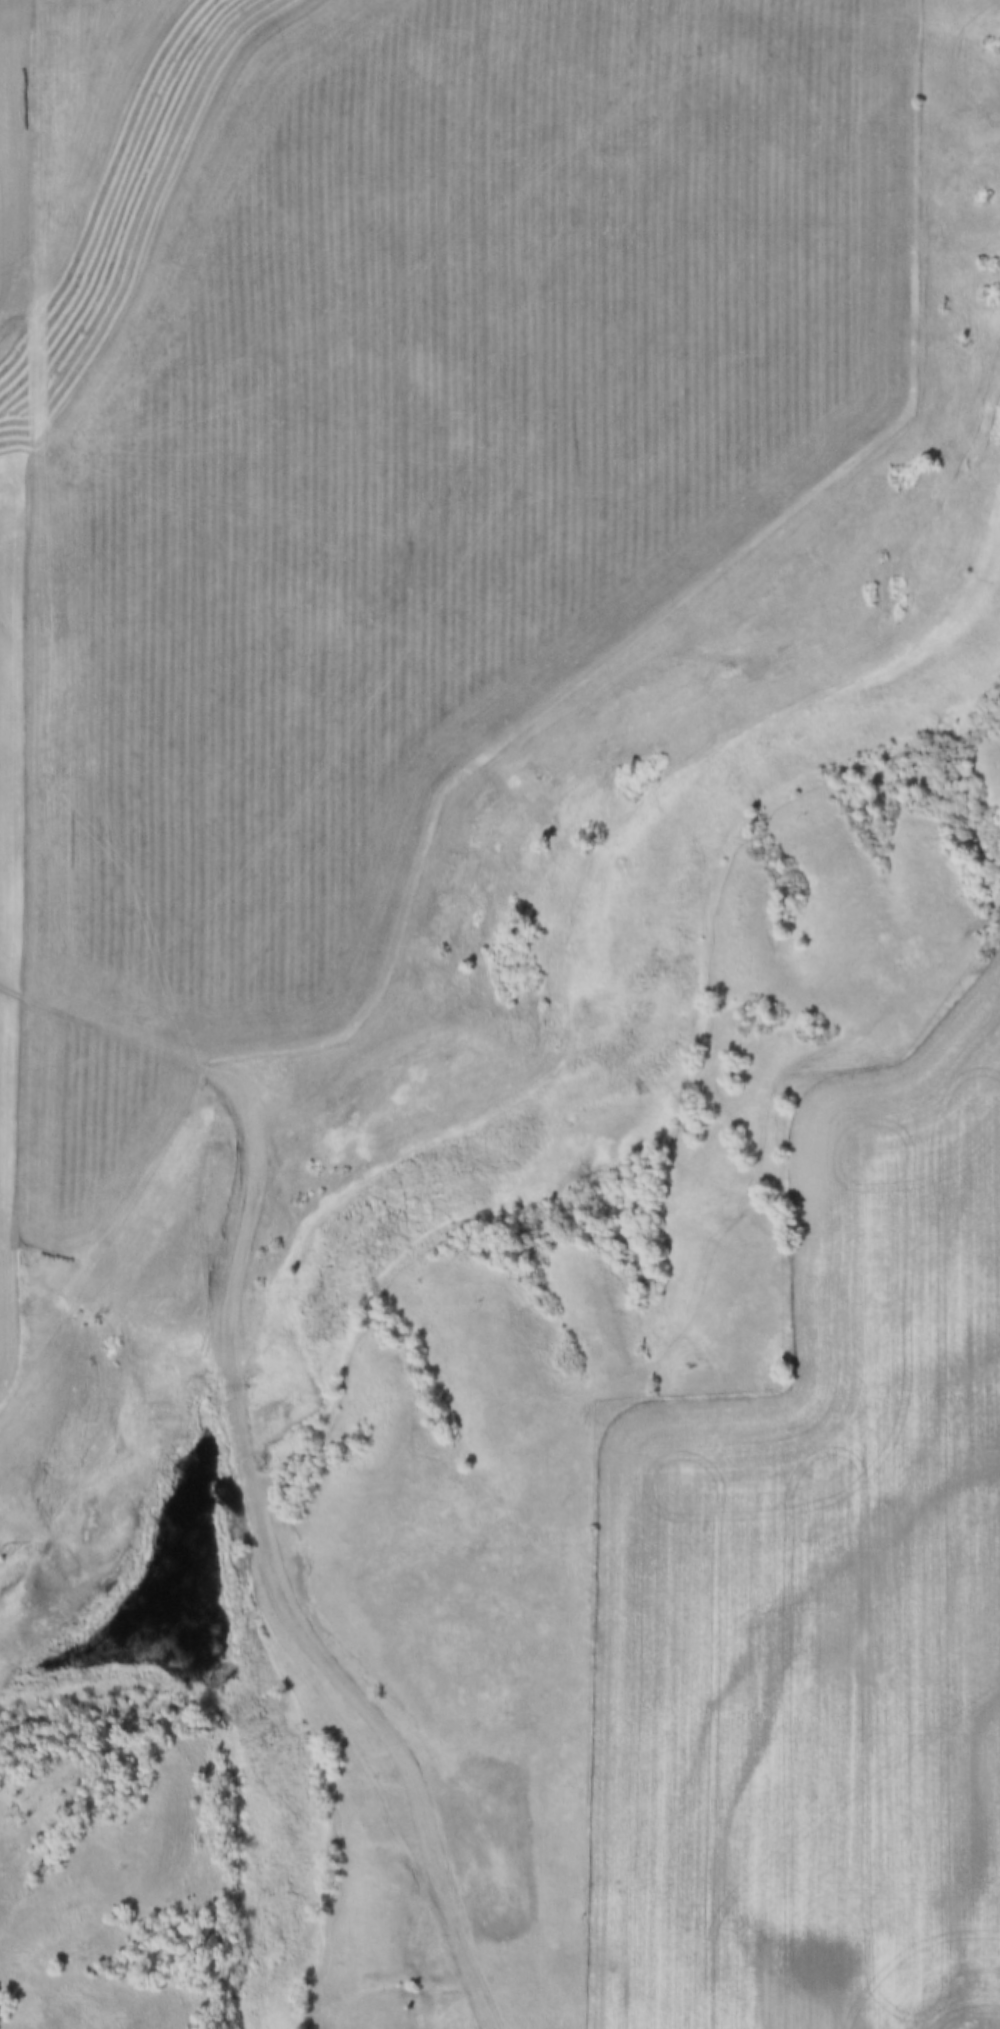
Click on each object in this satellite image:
road: (243, 1458)

